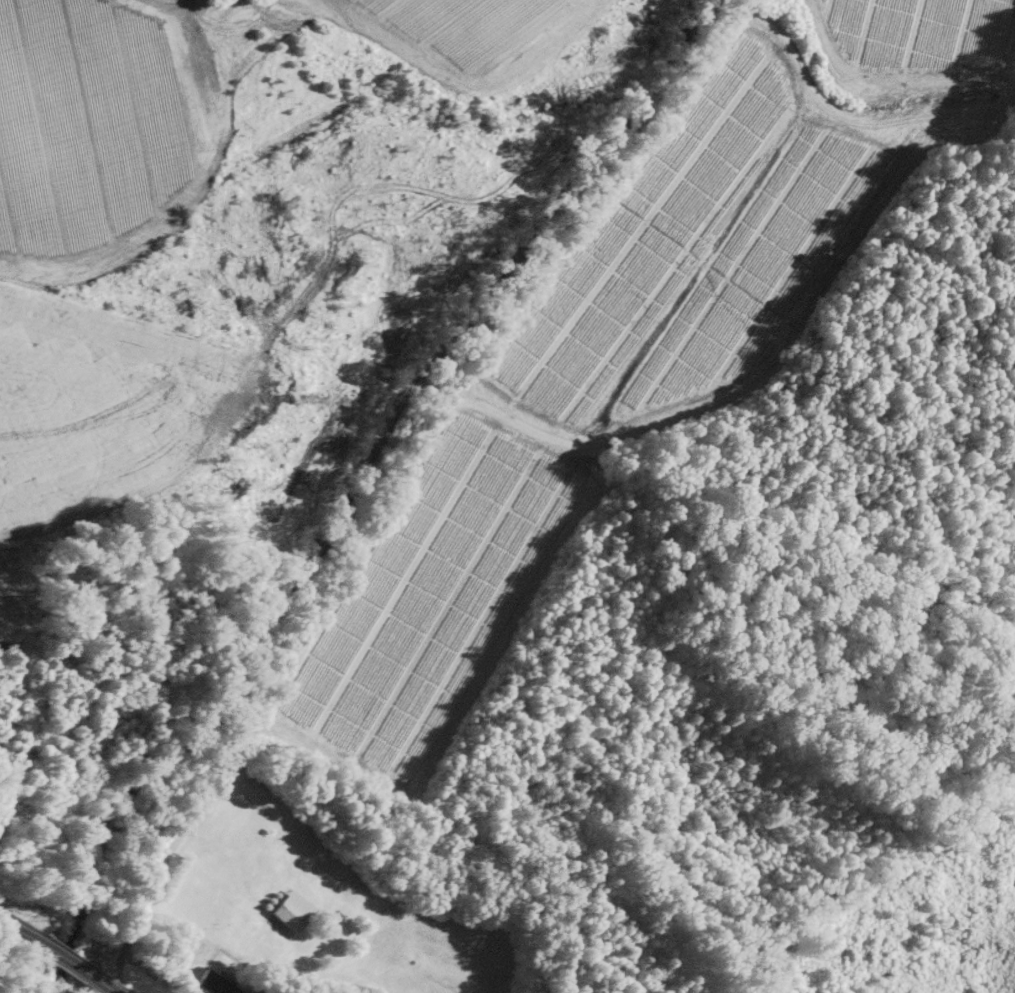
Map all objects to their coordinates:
building: (289, 909)
road: (22, 929)
road: (66, 956)
road: (105, 981)
building: (213, 983)
road: (114, 990)

